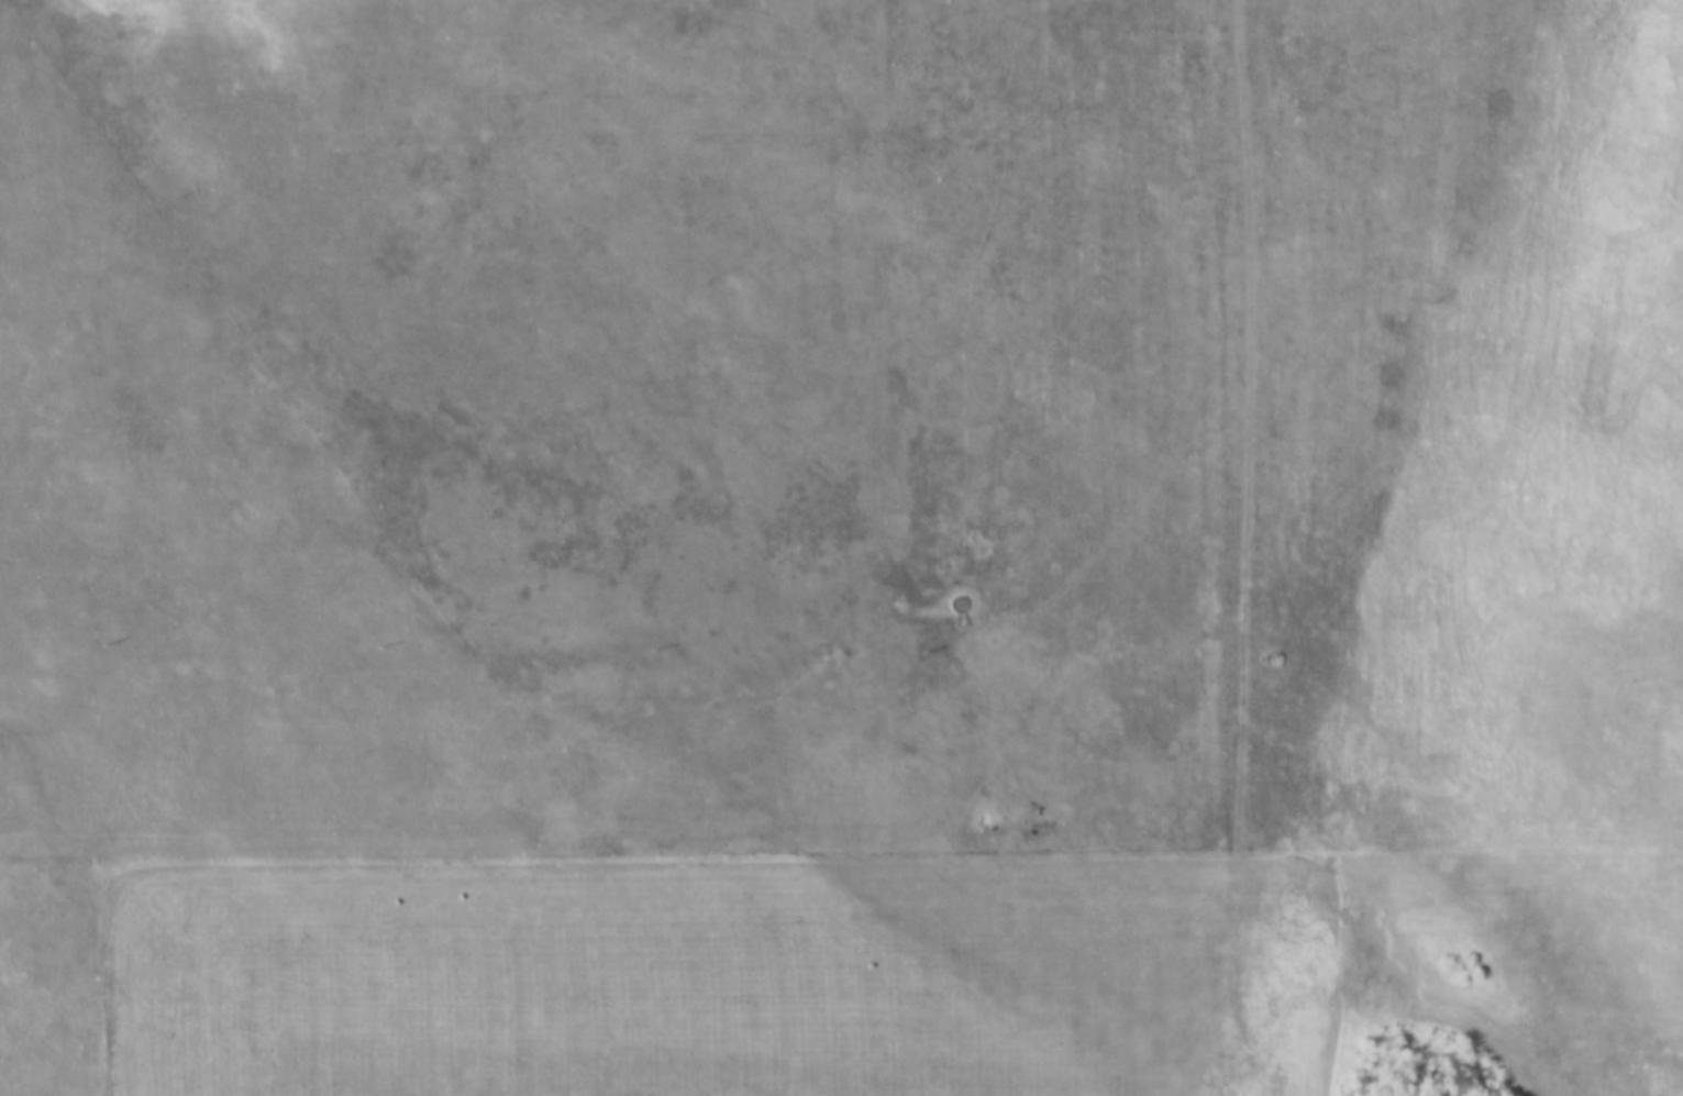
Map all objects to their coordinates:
road: (1252, 449)

